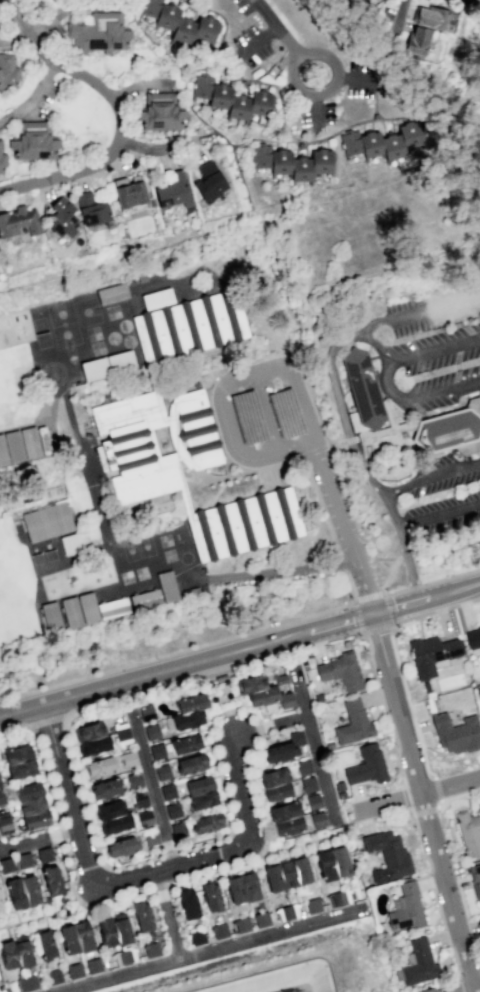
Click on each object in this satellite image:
road: (202, 4)
road: (68, 6)
building: (432, 18)
road: (401, 20)
building: (181, 24)
road: (273, 27)
road: (222, 31)
building: (98, 35)
road: (15, 39)
road: (257, 41)
building: (417, 41)
road: (383, 48)
road: (159, 49)
parking lot: (303, 67)
building: (8, 71)
road: (357, 79)
road: (141, 86)
road: (328, 90)
road: (31, 96)
building: (231, 99)
road: (190, 105)
road: (117, 109)
road: (318, 110)
building: (159, 113)
building: (375, 114)
road: (391, 118)
road: (341, 122)
road: (299, 132)
road: (310, 136)
building: (32, 141)
road: (298, 141)
road: (264, 142)
building: (381, 142)
building: (419, 145)
road: (155, 148)
road: (235, 158)
building: (3, 159)
building: (292, 164)
building: (0, 174)
building: (208, 182)
building: (128, 191)
building: (174, 192)
road: (333, 199)
road: (349, 203)
building: (90, 208)
building: (62, 216)
building: (19, 221)
road: (364, 236)
road: (244, 251)
road: (394, 266)
road: (192, 273)
road: (305, 288)
building: (112, 293)
building: (157, 298)
parking lot: (434, 309)
road: (419, 310)
park: (63, 324)
building: (189, 326)
road: (467, 328)
park: (74, 337)
road: (464, 341)
road: (57, 356)
road: (456, 357)
building: (120, 362)
parking lot: (431, 368)
building: (94, 369)
road: (271, 369)
road: (455, 375)
building: (362, 388)
road: (456, 389)
road: (417, 395)
road: (337, 397)
road: (459, 402)
road: (303, 403)
parking lot: (260, 413)
road: (388, 414)
road: (264, 416)
road: (221, 428)
road: (385, 430)
building: (450, 430)
road: (350, 440)
building: (153, 442)
building: (23, 443)
road: (334, 444)
road: (297, 450)
road: (308, 452)
road: (293, 460)
parking lot: (441, 473)
road: (429, 476)
building: (36, 496)
road: (335, 496)
building: (26, 498)
road: (438, 513)
parking lot: (442, 513)
road: (11, 514)
building: (46, 521)
building: (244, 523)
building: (73, 542)
park: (145, 546)
park: (129, 550)
road: (338, 557)
road: (341, 563)
road: (276, 572)
road: (388, 574)
road: (363, 581)
road: (432, 581)
building: (165, 586)
road: (468, 586)
building: (143, 599)
road: (414, 600)
building: (86, 608)
building: (111, 608)
building: (70, 612)
traffic signals: (373, 612)
building: (50, 616)
road: (393, 623)
road: (420, 627)
road: (363, 634)
road: (406, 637)
building: (472, 638)
road: (194, 647)
building: (431, 652)
road: (396, 658)
road: (186, 664)
building: (341, 670)
building: (220, 678)
road: (222, 678)
building: (264, 690)
building: (477, 691)
road: (233, 696)
building: (190, 703)
building: (146, 713)
road: (249, 716)
building: (187, 720)
road: (46, 721)
road: (270, 723)
building: (353, 723)
road: (258, 728)
building: (151, 732)
building: (121, 733)
building: (457, 733)
building: (91, 738)
road: (66, 741)
building: (186, 743)
road: (313, 743)
building: (284, 748)
building: (157, 751)
building: (128, 759)
building: (19, 762)
building: (191, 763)
building: (367, 765)
building: (99, 767)
building: (303, 767)
building: (162, 772)
building: (134, 780)
building: (275, 784)
building: (308, 784)
road: (222, 787)
building: (104, 788)
road: (437, 788)
road: (152, 791)
building: (168, 791)
building: (200, 792)
road: (419, 793)
road: (456, 795)
road: (404, 796)
building: (1, 797)
building: (139, 799)
building: (313, 801)
road: (423, 802)
building: (31, 805)
building: (479, 807)
road: (423, 809)
building: (173, 810)
building: (114, 816)
building: (144, 818)
building: (286, 818)
building: (317, 818)
building: (208, 822)
building: (5, 824)
building: (177, 828)
building: (468, 832)
building: (149, 837)
road: (38, 840)
road: (306, 842)
building: (120, 846)
road: (169, 852)
building: (44, 854)
road: (219, 855)
building: (386, 855)
building: (23, 860)
building: (333, 862)
building: (6, 865)
road: (87, 868)
road: (428, 871)
building: (286, 873)
road: (133, 878)
building: (52, 880)
building: (475, 880)
building: (242, 888)
building: (22, 891)
road: (127, 896)
building: (210, 896)
building: (338, 898)
road: (60, 903)
building: (187, 903)
building: (312, 905)
building: (1, 908)
building: (405, 909)
road: (41, 910)
road: (54, 911)
building: (287, 912)
road: (16, 916)
building: (142, 916)
road: (41, 917)
building: (261, 919)
road: (45, 922)
building: (241, 924)
building: (121, 930)
building: (219, 930)
road: (6, 931)
road: (12, 931)
building: (106, 931)
building: (196, 936)
road: (443, 936)
road: (445, 936)
building: (75, 937)
building: (44, 944)
road: (221, 945)
building: (151, 949)
building: (7, 953)
building: (22, 953)
building: (124, 956)
building: (418, 963)
building: (93, 965)
road: (456, 966)
building: (74, 970)
road: (113, 974)
building: (53, 976)
building: (26, 983)
building: (0, 989)
building: (1, 990)
building: (426, 990)

